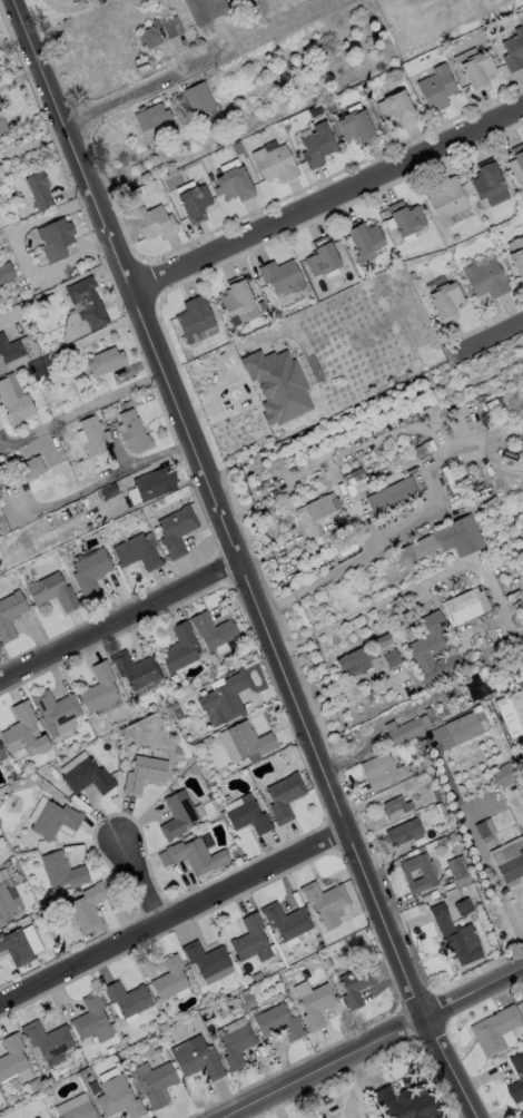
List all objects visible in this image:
building: (205, 11)
building: (169, 26)
building: (147, 37)
building: (513, 49)
building: (475, 69)
road: (141, 87)
building: (434, 88)
building: (197, 98)
building: (394, 108)
building: (149, 116)
building: (2, 125)
building: (353, 125)
building: (315, 144)
building: (517, 156)
building: (273, 163)
building: (484, 178)
building: (233, 183)
building: (37, 189)
road: (325, 198)
building: (444, 198)
building: (193, 202)
building: (404, 216)
building: (152, 220)
building: (363, 236)
building: (53, 238)
road: (19, 254)
building: (320, 256)
building: (515, 256)
building: (4, 272)
building: (279, 275)
building: (484, 278)
building: (236, 300)
building: (443, 301)
building: (81, 308)
building: (193, 317)
road: (487, 337)
building: (10, 354)
building: (105, 361)
building: (37, 367)
building: (269, 377)
building: (13, 403)
road: (82, 409)
building: (131, 432)
building: (90, 435)
building: (27, 468)
road: (111, 473)
building: (354, 481)
building: (152, 482)
road: (441, 491)
building: (391, 496)
building: (315, 512)
building: (174, 530)
building: (457, 536)
building: (420, 547)
building: (134, 552)
road: (236, 561)
building: (88, 573)
building: (50, 591)
building: (463, 606)
road: (369, 608)
building: (9, 614)
road: (118, 621)
building: (210, 630)
building: (379, 640)
building: (178, 648)
building: (431, 649)
building: (389, 657)
building: (353, 661)
building: (134, 670)
building: (97, 688)
building: (225, 697)
building: (56, 709)
building: (432, 710)
building: (510, 713)
building: (462, 727)
building: (403, 729)
building: (22, 732)
building: (248, 741)
building: (2, 755)
building: (379, 772)
building: (142, 773)
building: (502, 775)
building: (86, 777)
building: (283, 796)
building: (395, 807)
building: (175, 814)
building: (247, 817)
building: (52, 820)
building: (483, 830)
building: (402, 832)
building: (194, 855)
building: (507, 860)
road: (489, 867)
building: (60, 871)
building: (457, 871)
building: (416, 873)
road: (144, 882)
road: (500, 892)
building: (324, 902)
building: (4, 905)
building: (87, 908)
road: (171, 915)
building: (285, 920)
road: (512, 920)
building: (454, 938)
building: (249, 940)
building: (16, 948)
building: (205, 958)
building: (168, 978)
building: (354, 984)
building: (126, 998)
building: (312, 1002)
building: (90, 1019)
building: (276, 1021)
building: (493, 1029)
building: (46, 1039)
road: (376, 1043)
building: (235, 1046)
building: (11, 1057)
building: (195, 1058)
building: (515, 1076)
building: (155, 1083)
building: (116, 1098)
building: (406, 1100)
building: (78, 1111)
road: (253, 1112)
building: (520, 1115)
road: (237, 1116)

